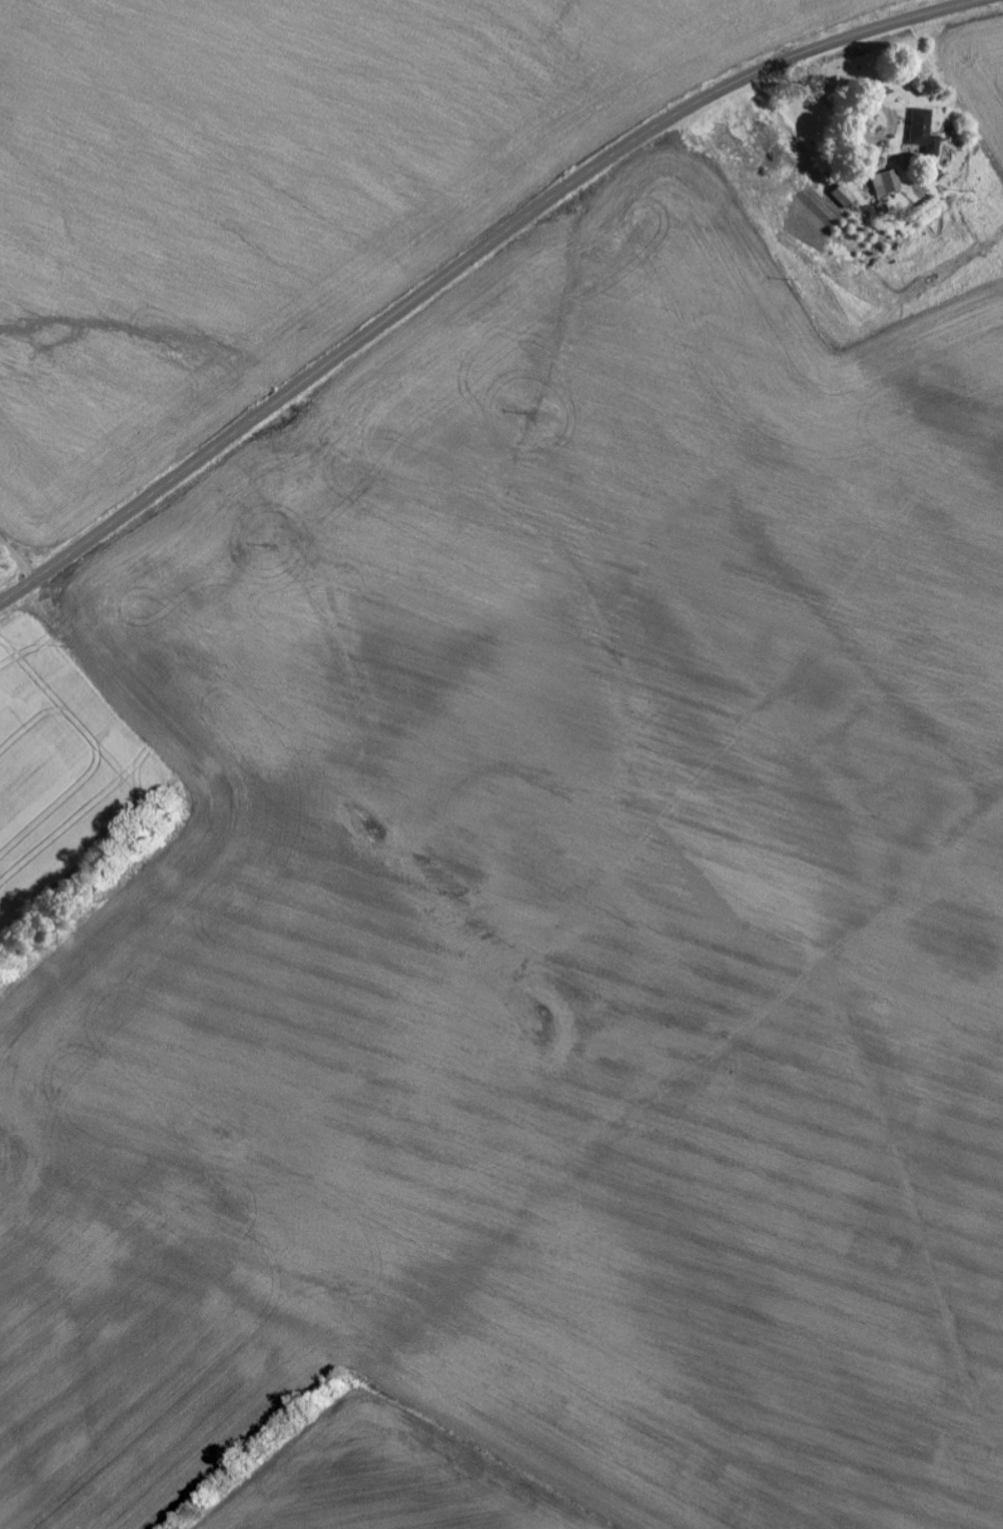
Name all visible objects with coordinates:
building: (884, 181)
road: (469, 259)
road: (17, 560)

